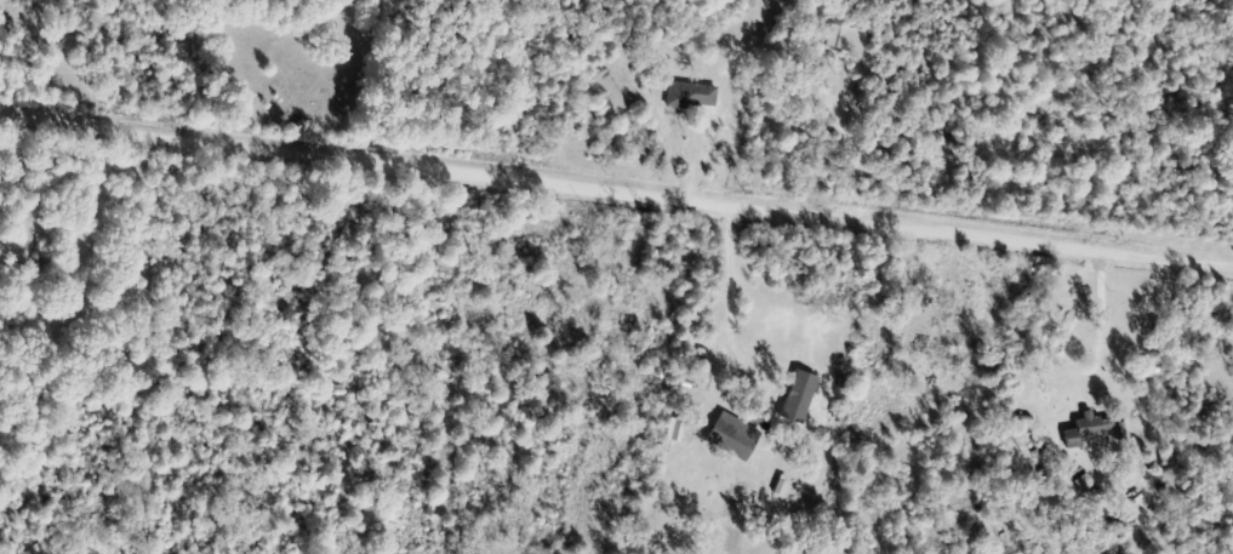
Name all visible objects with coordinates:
building: (690, 96)
road: (616, 193)
building: (935, 348)
building: (1086, 426)
building: (730, 439)
building: (1083, 482)

